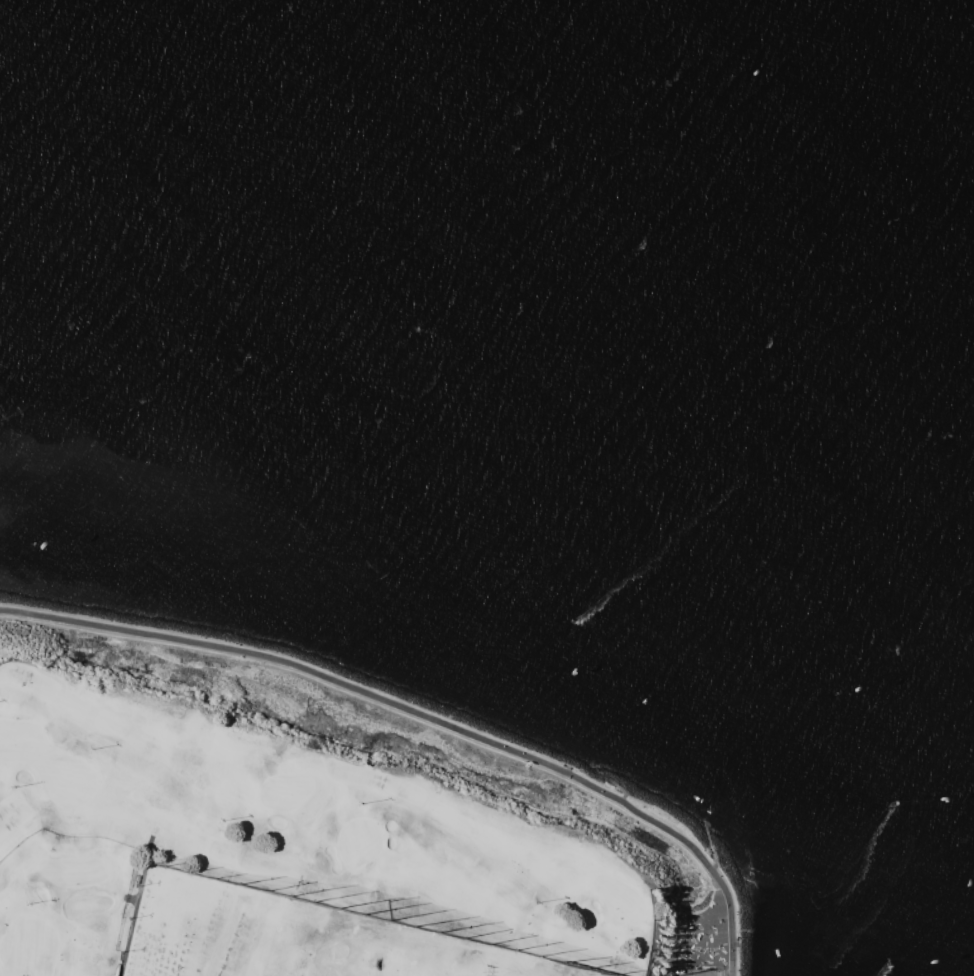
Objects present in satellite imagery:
park: (274, 854)
park: (705, 940)
parking lot: (703, 971)

